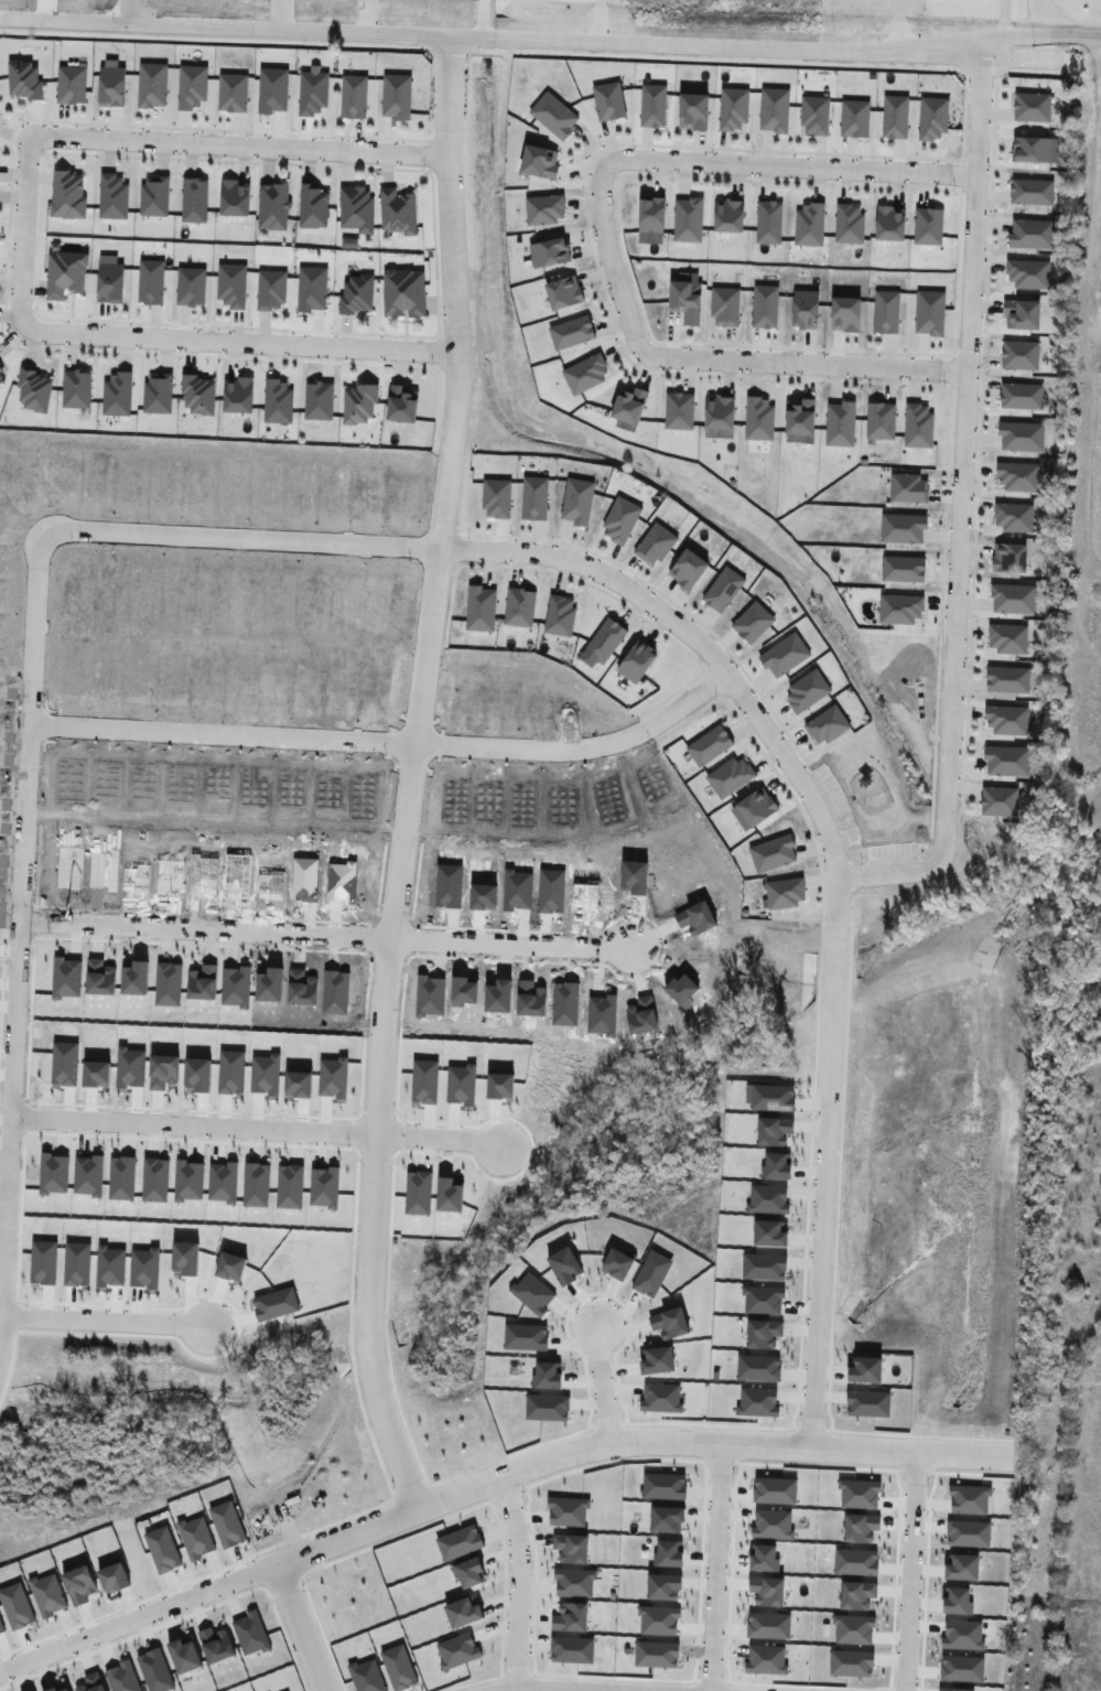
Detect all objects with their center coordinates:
road: (127, 10)
road: (481, 17)
road: (597, 18)
road: (896, 21)
road: (550, 34)
road: (1094, 125)
road: (194, 140)
road: (742, 165)
road: (191, 340)
road: (754, 360)
road: (960, 503)
road: (746, 703)
road: (385, 736)
road: (409, 772)
road: (19, 924)
road: (324, 933)
road: (257, 1127)
road: (102, 1321)
road: (602, 1379)
road: (484, 1478)
road: (288, 1530)
road: (715, 1564)
road: (909, 1570)
road: (516, 1576)
road: (300, 1625)
road: (603, 1685)

